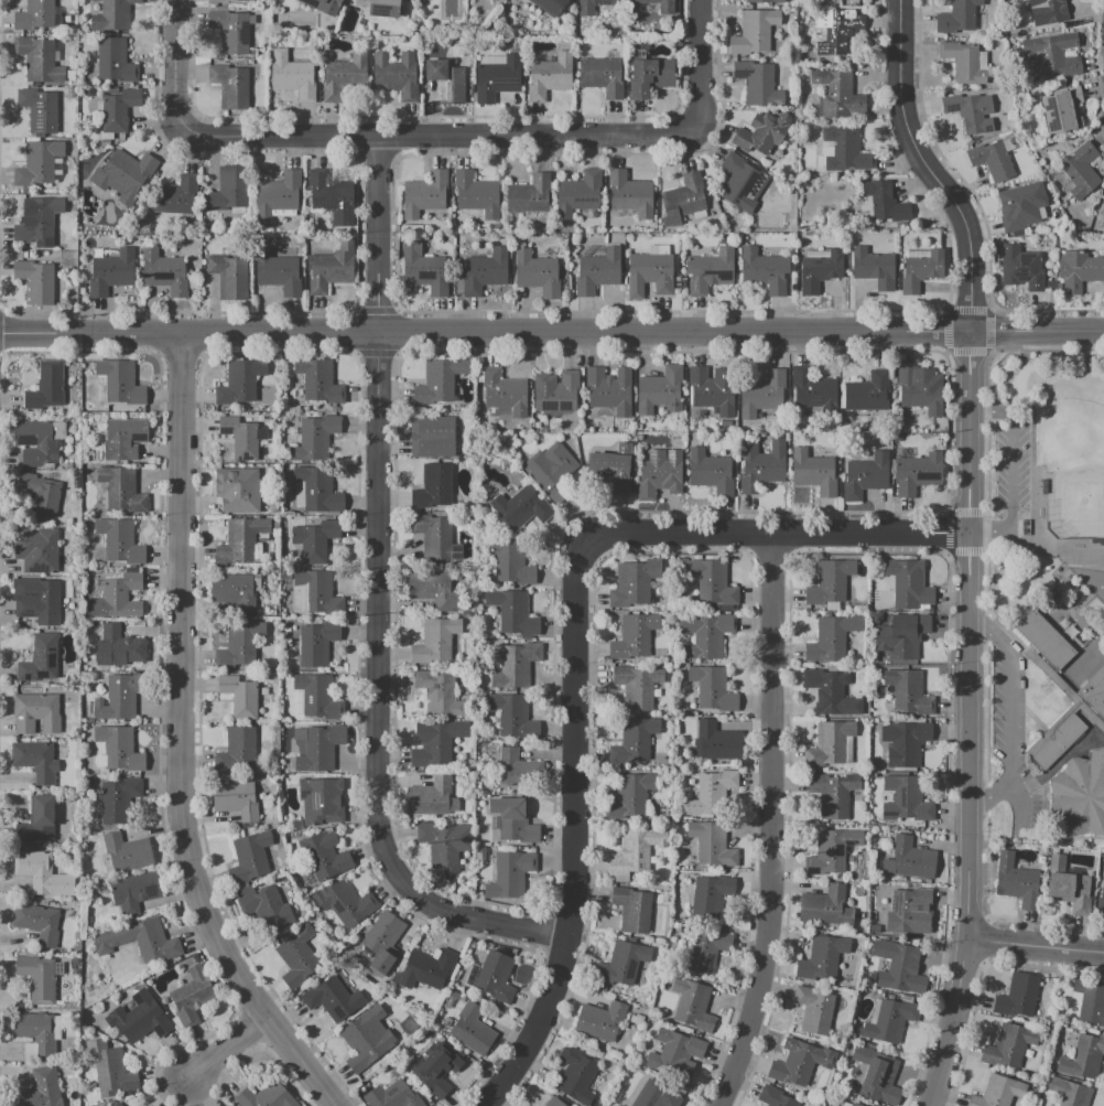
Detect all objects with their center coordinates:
building: (413, 0)
building: (220, 1)
building: (761, 1)
building: (323, 6)
building: (552, 6)
building: (594, 7)
building: (380, 8)
building: (667, 9)
building: (1048, 12)
building: (112, 14)
building: (34, 15)
building: (957, 18)
building: (251, 20)
building: (230, 31)
building: (755, 31)
building: (836, 32)
building: (1052, 54)
building: (37, 60)
building: (116, 62)
building: (963, 63)
road: (174, 64)
road: (697, 65)
building: (394, 75)
building: (292, 76)
building: (344, 76)
building: (549, 76)
building: (600, 76)
building: (650, 76)
building: (497, 78)
building: (445, 80)
building: (756, 84)
building: (230, 85)
building: (838, 95)
building: (98, 106)
building: (39, 109)
building: (119, 109)
building: (1064, 110)
building: (968, 112)
building: (765, 133)
road: (439, 137)
building: (847, 150)
building: (991, 160)
building: (37, 163)
road: (928, 168)
building: (127, 170)
building: (1081, 171)
building: (739, 182)
building: (228, 191)
building: (529, 193)
building: (424, 194)
building: (476, 194)
building: (578, 194)
building: (629, 194)
building: (277, 195)
building: (175, 196)
building: (331, 197)
building: (682, 198)
building: (885, 203)
building: (1020, 206)
building: (283, 212)
building: (39, 221)
building: (658, 249)
building: (872, 267)
building: (331, 268)
building: (423, 269)
building: (596, 269)
building: (710, 269)
building: (1020, 269)
building: (762, 270)
building: (818, 270)
building: (1078, 270)
building: (109, 271)
building: (485, 271)
building: (164, 272)
building: (921, 272)
building: (537, 273)
building: (649, 273)
building: (275, 275)
building: (229, 276)
building: (677, 278)
building: (684, 280)
building: (35, 281)
building: (678, 284)
road: (946, 309)
road: (992, 309)
road: (988, 311)
road: (949, 331)
road: (552, 332)
road: (1064, 350)
road: (970, 351)
road: (945, 353)
road: (992, 353)
building: (700, 358)
building: (240, 380)
building: (320, 380)
building: (120, 382)
building: (439, 382)
building: (46, 387)
building: (812, 389)
building: (920, 389)
building: (609, 390)
building: (659, 390)
building: (713, 390)
building: (504, 391)
building: (555, 391)
building: (866, 393)
building: (761, 394)
building: (315, 437)
building: (430, 437)
building: (897, 437)
building: (123, 438)
building: (240, 438)
building: (37, 441)
park: (1046, 451)
road: (1031, 457)
building: (760, 465)
building: (613, 469)
park: (1074, 469)
building: (550, 470)
building: (708, 471)
building: (813, 472)
building: (916, 472)
parking lot: (1009, 472)
road: (1010, 473)
building: (659, 474)
building: (865, 476)
building: (433, 486)
building: (318, 488)
building: (121, 490)
building: (237, 490)
building: (40, 493)
building: (523, 508)
road: (945, 509)
road: (985, 511)
road: (965, 512)
building: (1025, 527)
road: (948, 533)
building: (435, 538)
building: (119, 540)
building: (239, 540)
building: (315, 540)
road: (1047, 548)
building: (37, 550)
road: (984, 551)
road: (964, 552)
road: (945, 556)
building: (510, 560)
building: (830, 581)
building: (712, 583)
building: (908, 583)
building: (634, 587)
building: (434, 590)
building: (234, 591)
building: (317, 592)
building: (117, 598)
road: (376, 601)
building: (41, 604)
building: (512, 613)
building: (704, 635)
building: (634, 636)
building: (901, 636)
building: (831, 637)
building: (1043, 638)
building: (435, 642)
road: (572, 642)
building: (316, 643)
building: (238, 645)
building: (120, 646)
building: (40, 659)
building: (513, 665)
road: (1046, 669)
road: (988, 677)
building: (637, 686)
flagpole: (1039, 686)
building: (712, 689)
building: (1065, 690)
building: (908, 691)
building: (830, 692)
building: (1094, 692)
building: (237, 694)
building: (439, 695)
building: (119, 697)
building: (317, 698)
building: (34, 712)
road: (1010, 713)
building: (512, 716)
road: (967, 721)
parking lot: (1014, 739)
road: (180, 740)
building: (1054, 740)
building: (634, 741)
building: (718, 741)
building: (435, 742)
building: (906, 742)
building: (827, 743)
building: (317, 748)
building: (118, 749)
building: (236, 750)
road: (1069, 753)
building: (35, 760)
building: (520, 770)
building: (833, 794)
building: (1080, 794)
building: (710, 795)
building: (628, 796)
building: (432, 798)
building: (906, 799)
building: (117, 801)
building: (236, 802)
building: (318, 803)
road: (1021, 803)
building: (512, 820)
building: (36, 823)
road: (770, 823)
road: (1075, 840)
building: (712, 844)
building: (444, 845)
building: (636, 850)
building: (831, 851)
building: (126, 852)
building: (325, 856)
building: (249, 858)
building: (909, 859)
building: (41, 873)
building: (508, 876)
building: (1016, 881)
building: (1068, 887)
building: (133, 892)
building: (710, 896)
building: (1101, 901)
building: (344, 904)
building: (824, 905)
building: (905, 908)
building: (632, 910)
building: (273, 912)
building: (37, 923)
road: (986, 938)
building: (385, 939)
building: (139, 942)
road: (1036, 946)
building: (704, 947)
building: (296, 957)
building: (822, 957)
building: (623, 963)
building: (902, 968)
building: (426, 969)
building: (381, 977)
building: (36, 978)
building: (494, 978)
building: (192, 995)
building: (1017, 998)
building: (332, 999)
building: (1090, 1001)
building: (692, 1003)
building: (814, 1009)
building: (599, 1020)
building: (890, 1020)
building: (139, 1022)
building: (472, 1030)
building: (35, 1031)
building: (366, 1038)
building: (1009, 1045)
road: (227, 1048)
building: (675, 1054)
building: (1082, 1059)
building: (798, 1062)
building: (109, 1069)
building: (436, 1070)
building: (576, 1075)
building: (880, 1080)
building: (41, 1087)
building: (998, 1091)
building: (1070, 1092)
building: (392, 1095)
building: (651, 1095)
building: (266, 1096)
building: (773, 1097)
building: (554, 1103)
building: (115, 1104)
building: (854, 1104)
building: (226, 1105)

